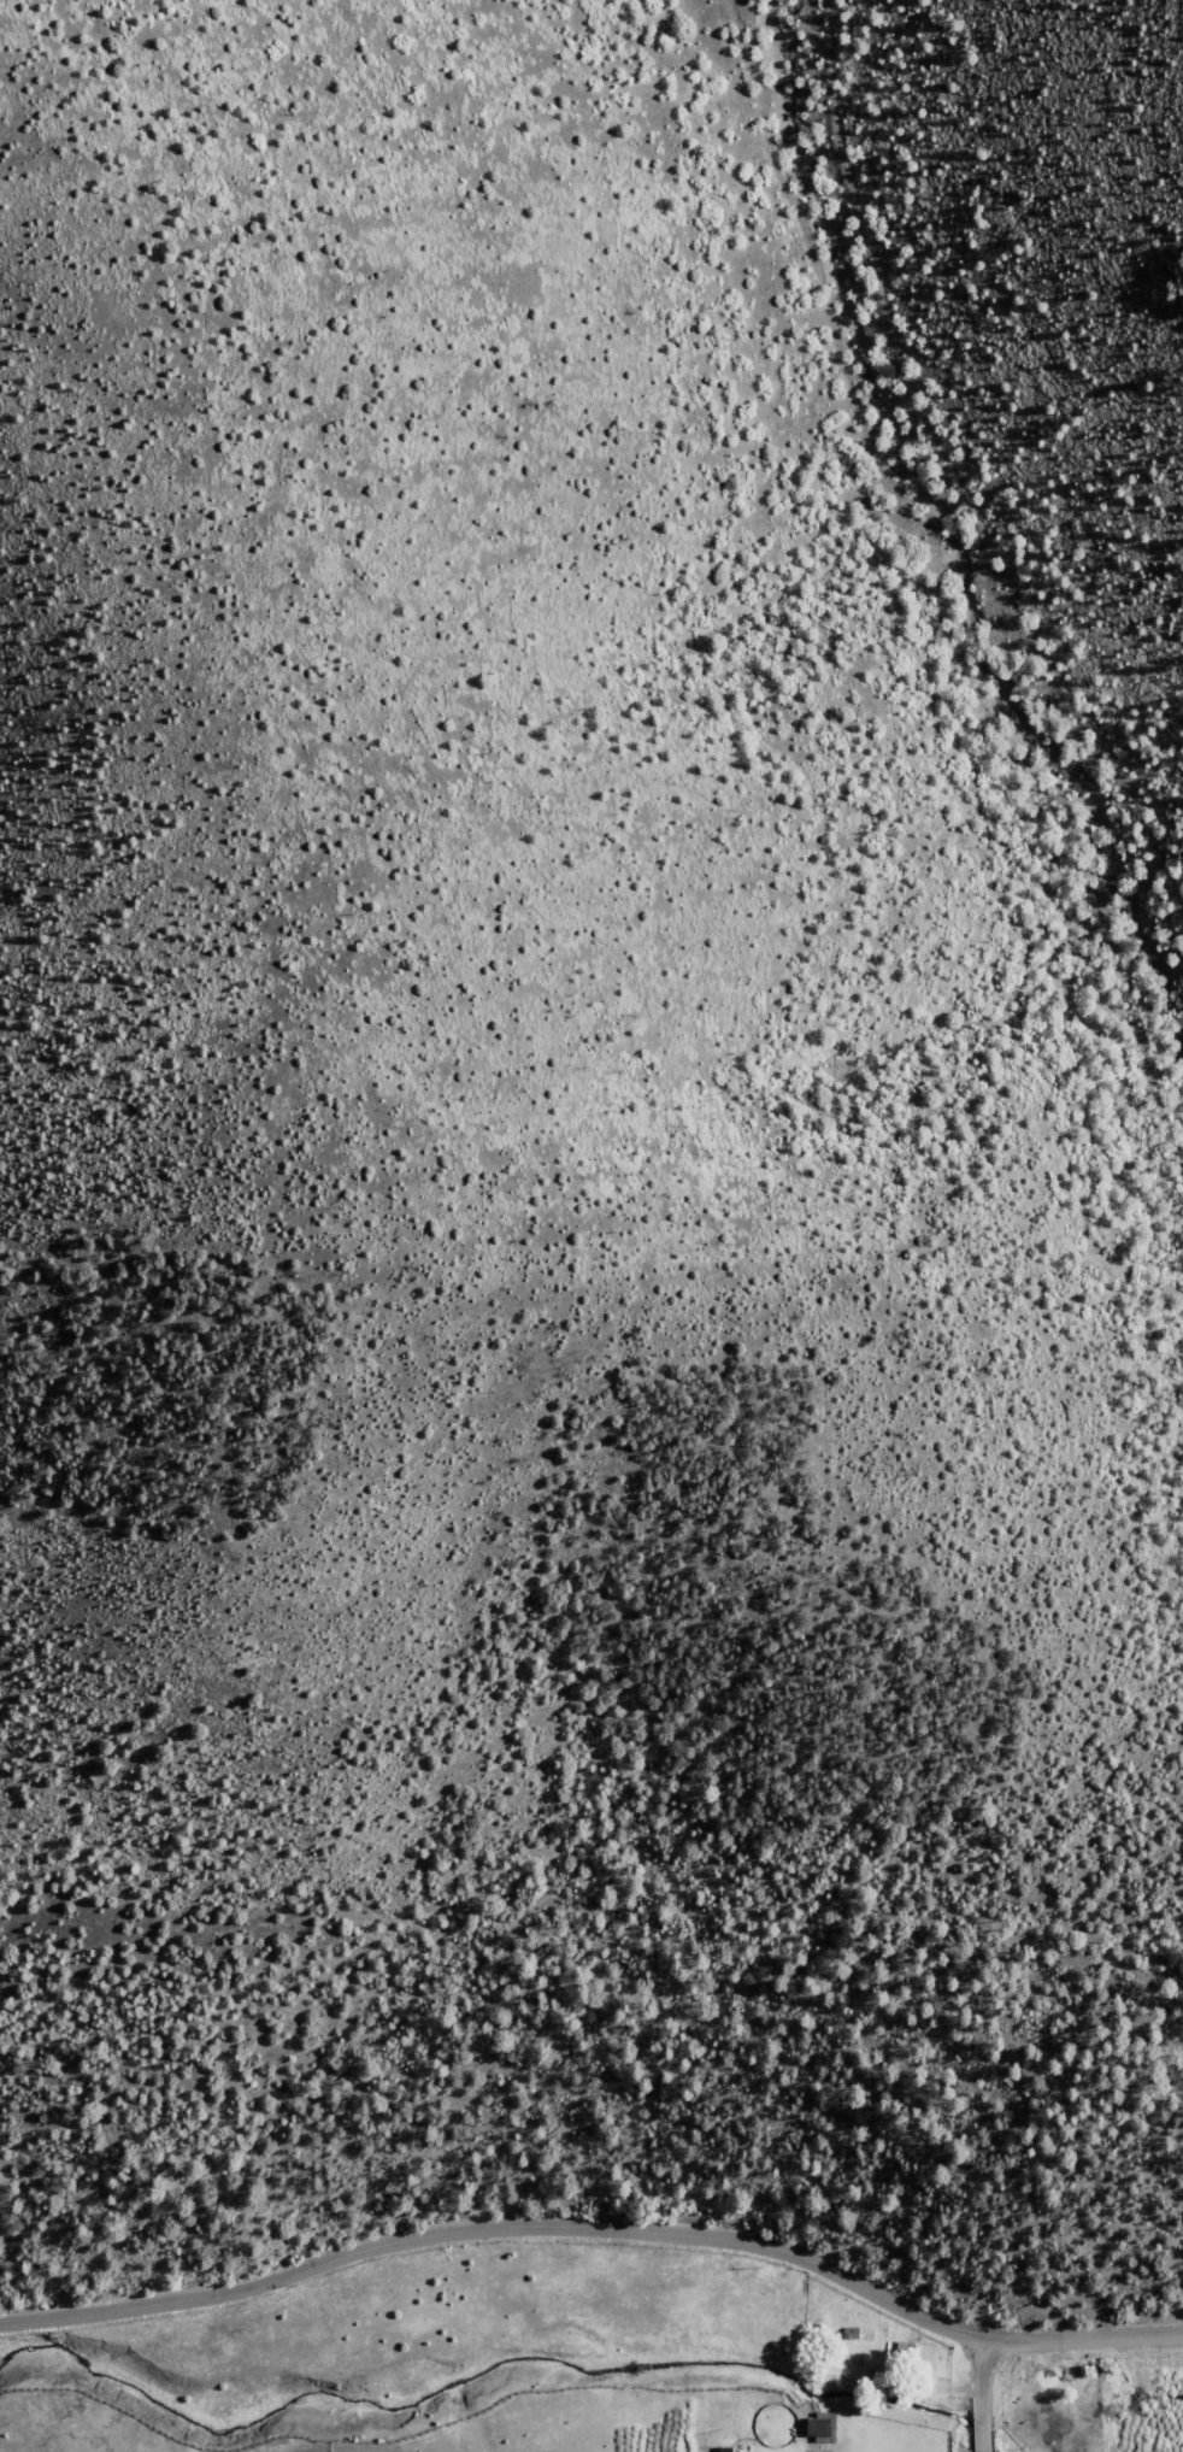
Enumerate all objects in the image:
road: (498, 2228)
road: (1085, 2338)
building: (916, 2356)
building: (1029, 2372)
road: (983, 2377)
park: (744, 2433)
road: (983, 2434)
building: (808, 2435)
building: (729, 2450)

